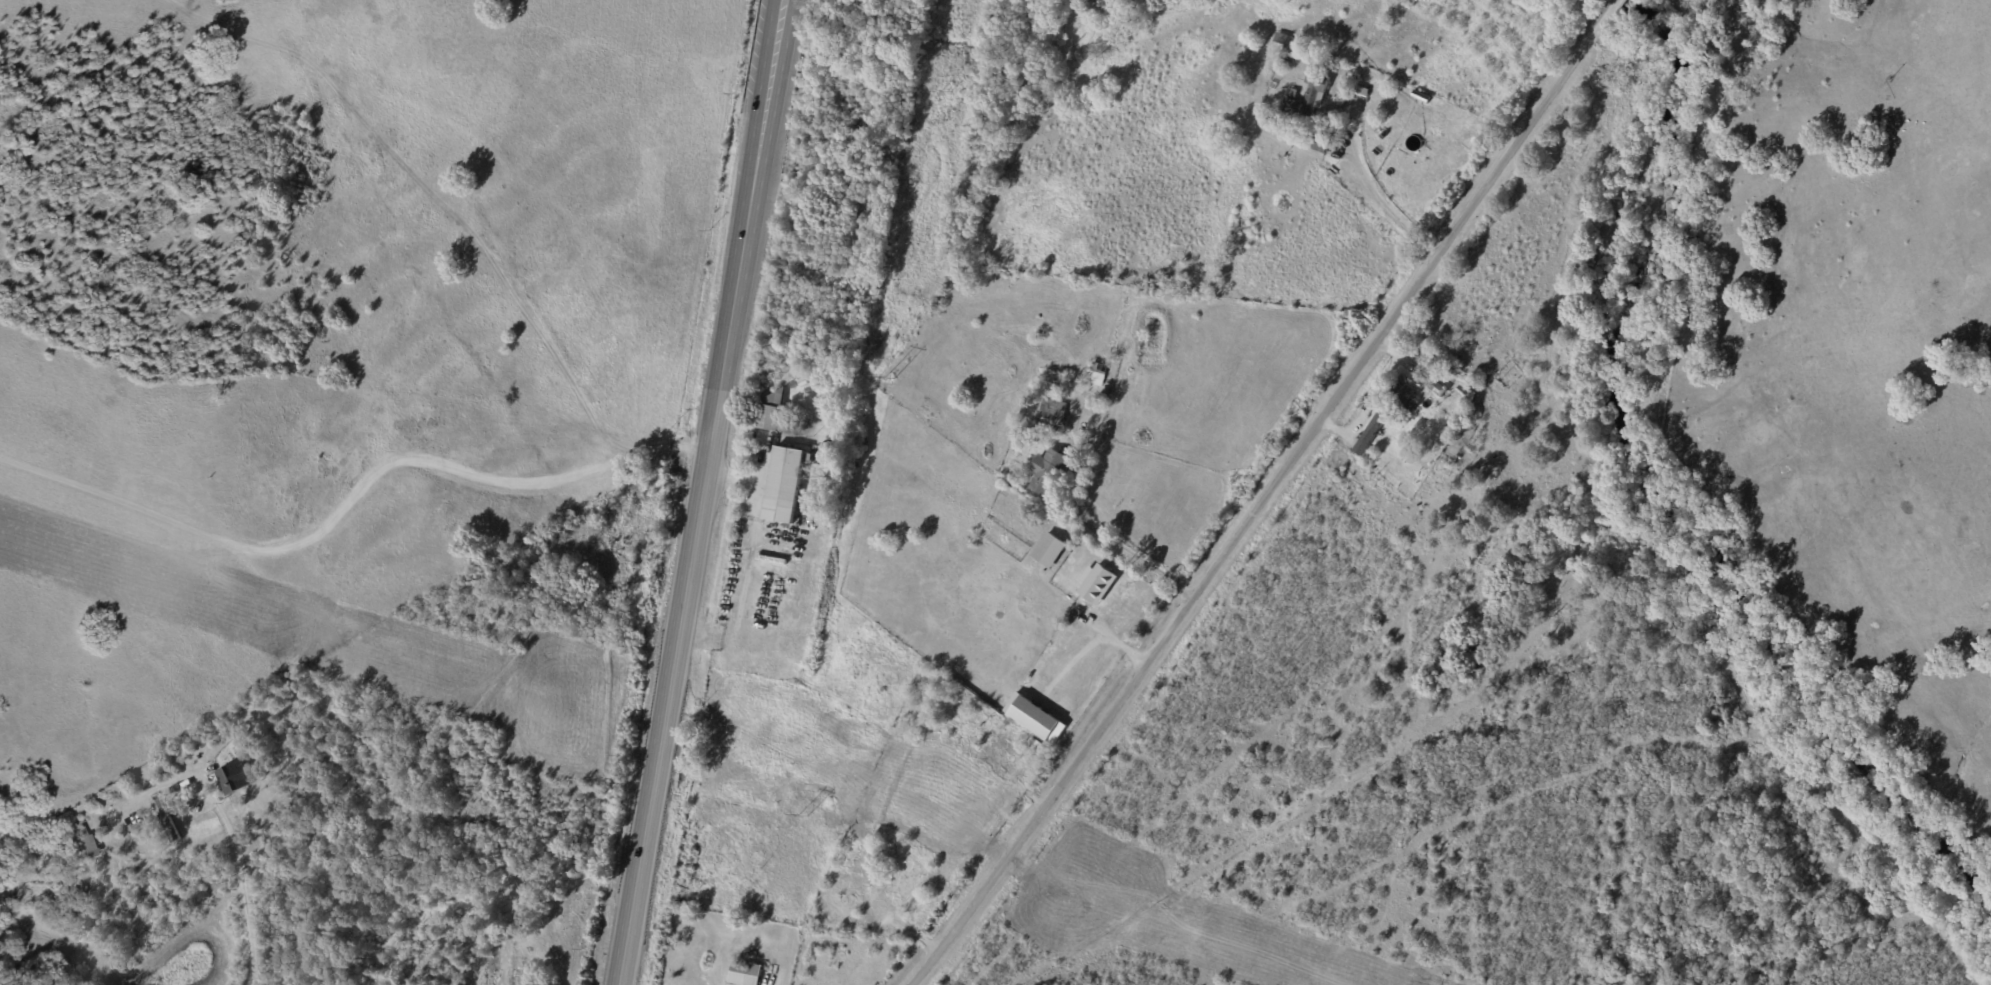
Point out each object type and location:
building: (1287, 46)
power tower: (945, 92)
building: (1310, 94)
road: (1379, 205)
building: (1095, 373)
power tower: (887, 379)
building: (1400, 395)
building: (771, 409)
building: (1053, 411)
building: (1369, 434)
building: (1047, 472)
building: (783, 484)
road: (701, 492)
road: (1268, 494)
road: (351, 503)
road: (1091, 533)
building: (1048, 550)
building: (1096, 583)
building: (1034, 718)
building: (231, 779)
power tower: (802, 814)
building: (166, 821)
building: (85, 841)
road: (246, 910)
building: (745, 973)

